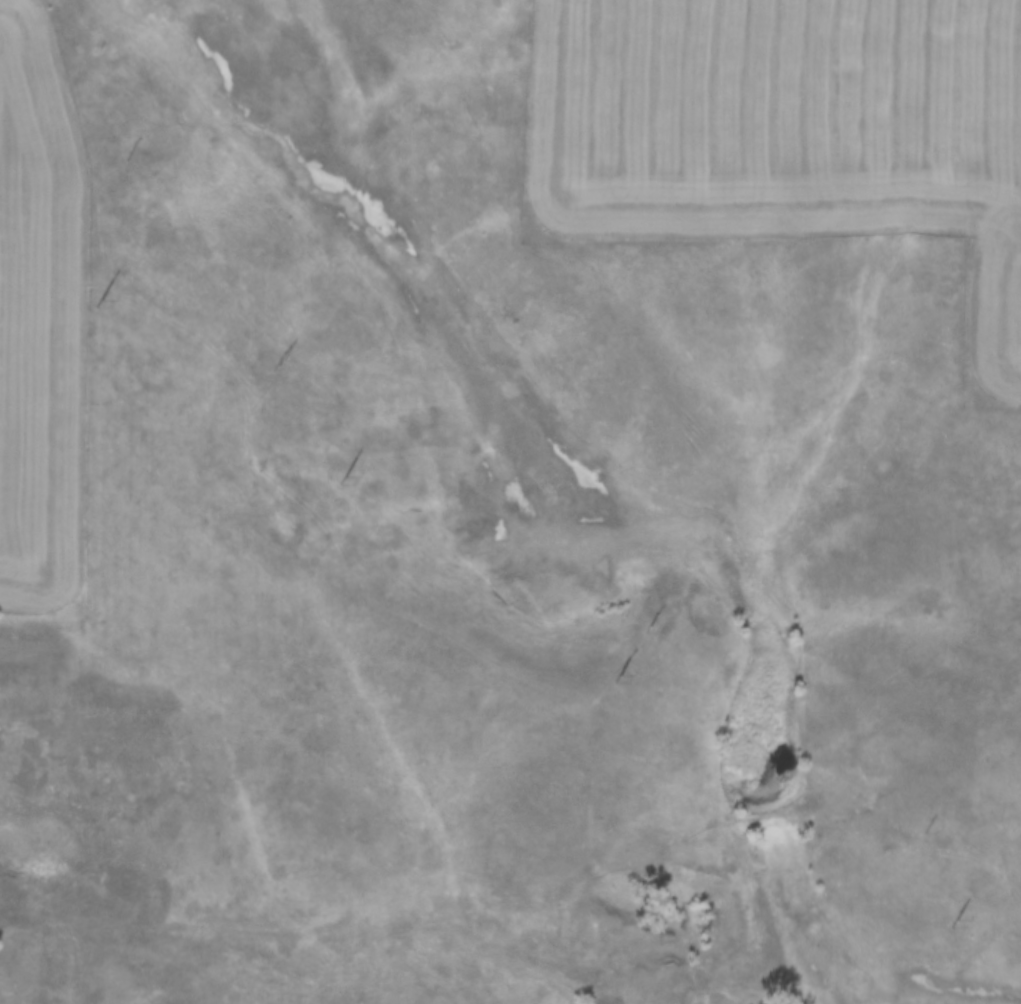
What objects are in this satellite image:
road: (16, 928)

